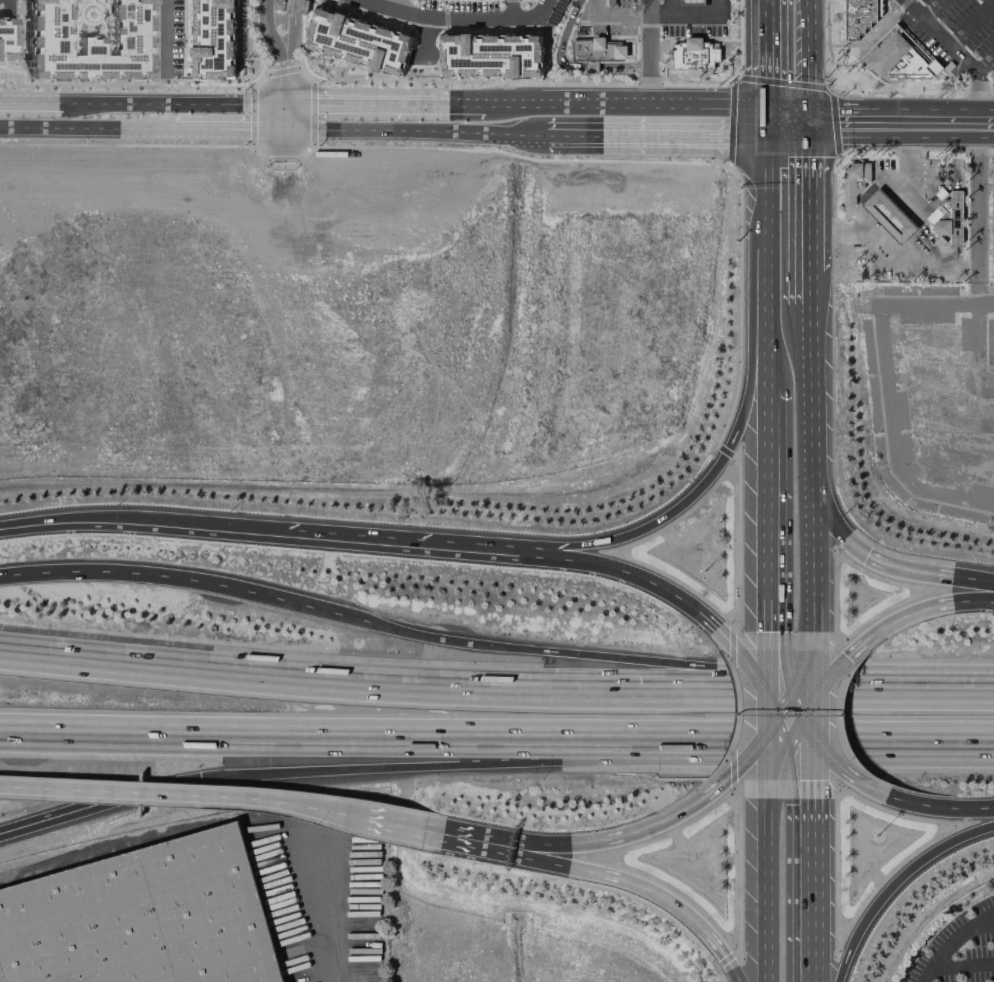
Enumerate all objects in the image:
building: (691, 2)
gas station: (691, 2)
road: (4, 3)
road: (391, 5)
building: (291, 6)
road: (594, 7)
road: (715, 7)
road: (932, 9)
road: (461, 15)
road: (653, 15)
building: (857, 17)
road: (967, 21)
road: (940, 36)
road: (165, 38)
building: (7, 39)
building: (88, 39)
building: (213, 39)
road: (421, 40)
building: (357, 41)
road: (287, 51)
building: (594, 51)
road: (266, 52)
road: (647, 53)
road: (770, 54)
road: (801, 54)
building: (490, 55)
building: (693, 56)
gas station: (693, 56)
building: (896, 58)
road: (985, 65)
road: (977, 92)
road: (82, 102)
road: (224, 103)
road: (528, 105)
traffic signals: (771, 110)
road: (786, 110)
traffic signals: (802, 110)
road: (878, 111)
road: (974, 112)
road: (276, 116)
road: (285, 116)
road: (771, 121)
road: (802, 121)
road: (142, 128)
road: (415, 130)
traffic signals: (771, 132)
road: (786, 132)
traffic signals: (802, 133)
road: (898, 133)
road: (684, 134)
road: (571, 135)
building: (853, 182)
road: (770, 188)
road: (802, 190)
road: (871, 190)
building: (888, 216)
road: (977, 226)
road: (920, 262)
road: (803, 263)
road: (770, 289)
road: (769, 362)
road: (805, 455)
road: (702, 484)
road: (768, 511)
road: (141, 519)
road: (418, 540)
road: (884, 565)
street lamp: (704, 571)
road: (185, 578)
road: (640, 578)
road: (990, 591)
road: (913, 612)
road: (726, 635)
traffic signals: (849, 655)
road: (768, 656)
road: (628, 658)
road: (751, 661)
road: (806, 663)
road: (828, 674)
road: (445, 686)
road: (943, 693)
road: (779, 696)
road: (798, 702)
road: (769, 707)
road: (807, 714)
road: (779, 722)
road: (798, 722)
road: (496, 739)
road: (757, 748)
road: (822, 748)
traffic signals: (746, 762)
road: (807, 766)
road: (769, 767)
road: (367, 768)
traffic signals: (199, 779)
road: (862, 781)
road: (721, 783)
road: (184, 793)
road: (99, 806)
road: (941, 809)
road: (445, 834)
street lamp: (876, 835)
road: (610, 836)
road: (897, 885)
road: (649, 888)
road: (808, 890)
road: (770, 891)
road: (333, 917)
building: (143, 918)
road: (984, 923)
road: (951, 941)
parking lot: (959, 949)
road: (961, 965)

